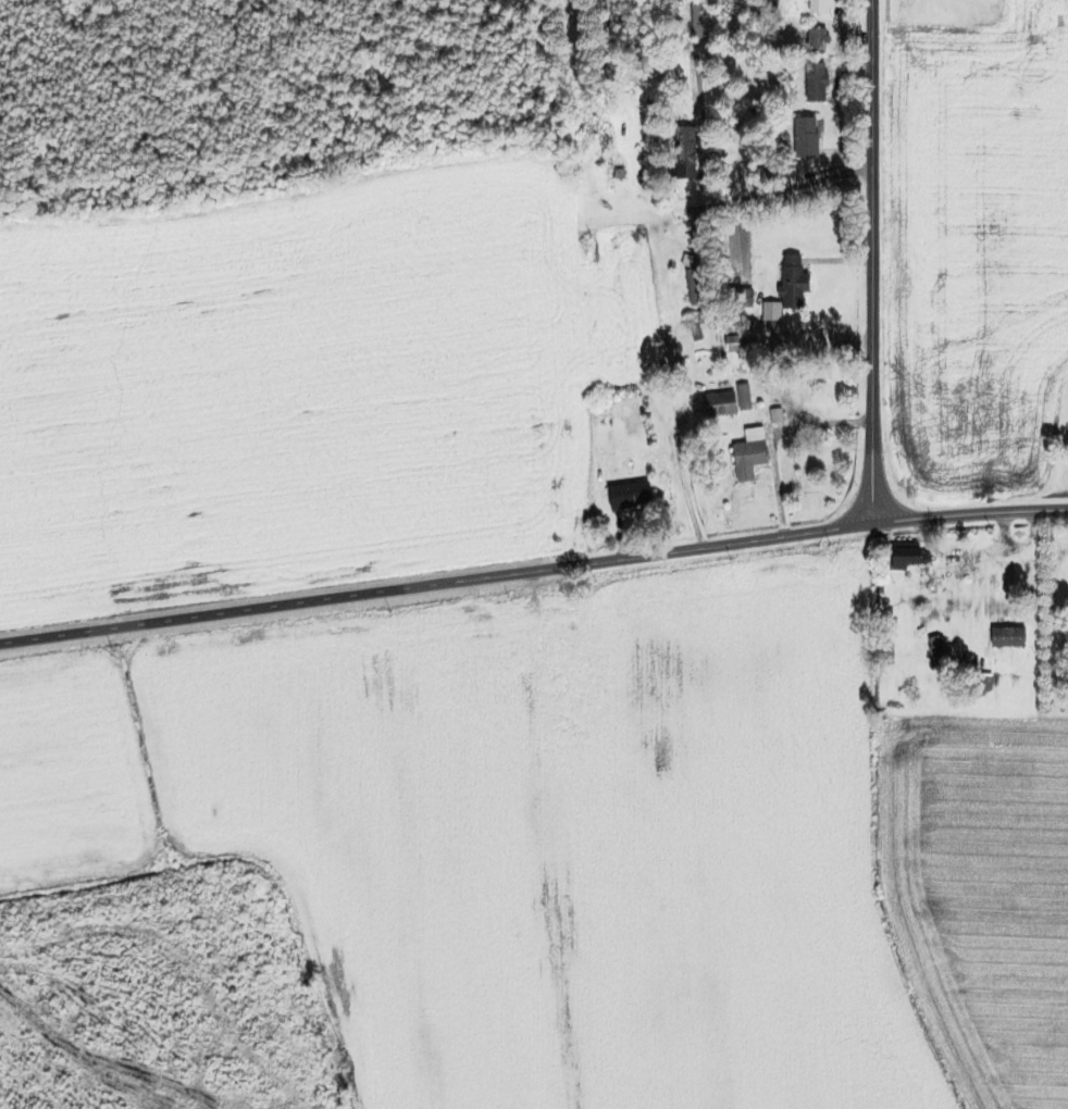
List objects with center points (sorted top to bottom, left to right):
building: (819, 5)
building: (695, 18)
building: (817, 39)
road: (856, 46)
road: (850, 67)
building: (817, 85)
building: (806, 139)
road: (846, 151)
building: (684, 152)
building: (607, 162)
building: (620, 177)
road: (705, 180)
road: (778, 191)
road: (639, 215)
road: (698, 232)
building: (736, 248)
crop: (978, 253)
road: (837, 259)
building: (687, 260)
road: (872, 261)
building: (793, 284)
building: (692, 287)
building: (743, 298)
building: (772, 311)
building: (701, 315)
building: (754, 323)
building: (697, 335)
building: (734, 344)
road: (817, 347)
crop: (293, 389)
building: (744, 396)
building: (721, 404)
building: (777, 415)
road: (770, 434)
building: (749, 454)
road: (681, 481)
building: (629, 495)
road: (621, 536)
road: (966, 553)
building: (907, 557)
road: (533, 570)
road: (980, 599)
building: (563, 636)
building: (1008, 638)
building: (470, 639)
building: (937, 650)
building: (1015, 682)
building: (985, 684)
crop: (564, 836)
crop: (982, 893)

